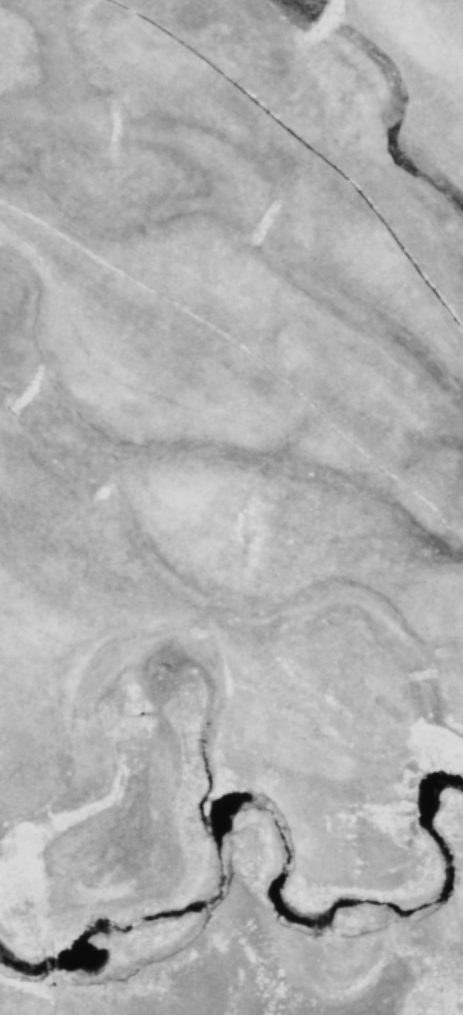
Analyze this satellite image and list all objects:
river: (287, 844)

